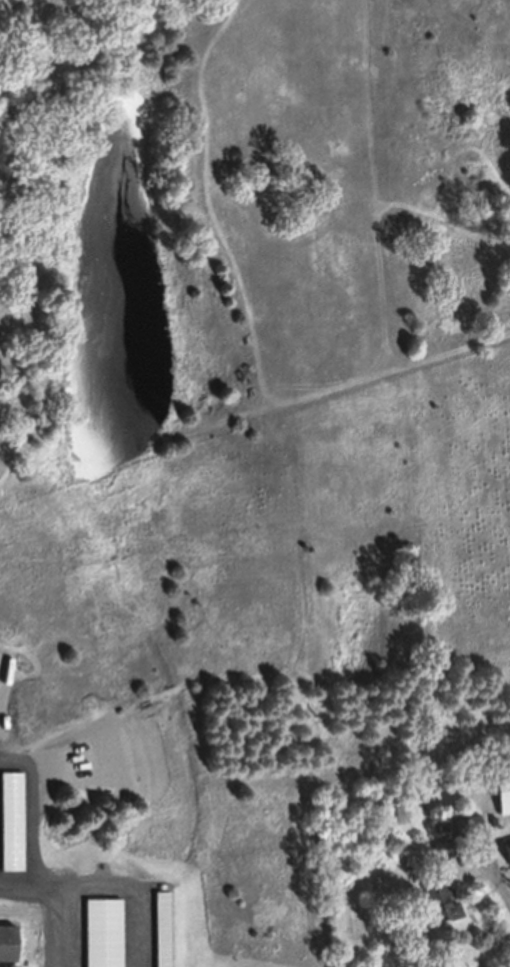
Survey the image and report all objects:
building: (501, 801)
building: (405, 820)
building: (466, 833)
building: (493, 861)
road: (494, 869)
building: (439, 907)
building: (8, 949)

